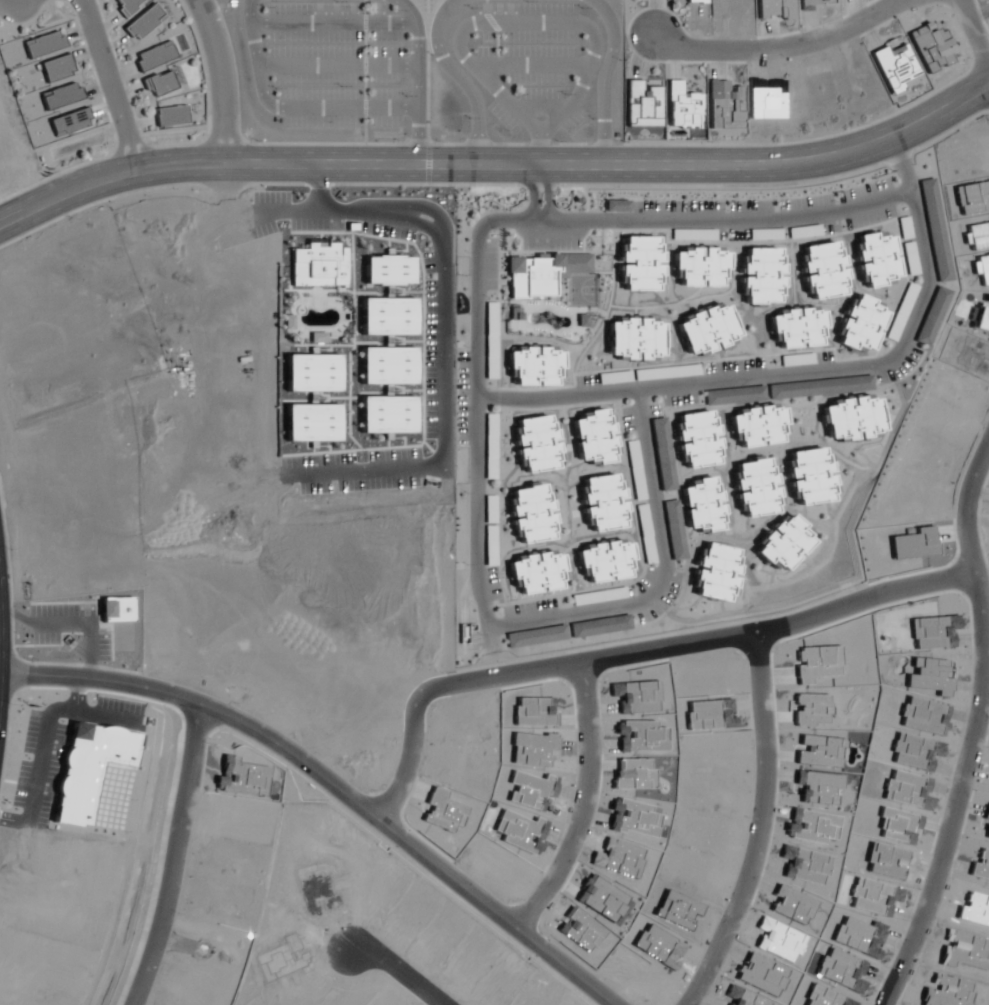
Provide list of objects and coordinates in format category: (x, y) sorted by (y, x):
building: (696, 1)
road: (20, 3)
road: (602, 5)
building: (127, 6)
building: (144, 23)
road: (542, 25)
road: (977, 26)
road: (336, 28)
building: (43, 45)
road: (798, 48)
building: (155, 56)
parking lot: (332, 66)
building: (894, 67)
building: (56, 68)
parking lot: (534, 69)
road: (339, 70)
road: (538, 71)
road: (607, 75)
road: (420, 76)
road: (454, 78)
road: (220, 79)
road: (108, 83)
building: (161, 83)
building: (60, 96)
building: (642, 103)
building: (723, 105)
building: (682, 107)
road: (289, 110)
road: (545, 111)
building: (171, 116)
building: (69, 122)
road: (497, 166)
road: (320, 188)
road: (532, 194)
road: (547, 194)
building: (904, 227)
building: (935, 230)
building: (692, 234)
building: (764, 234)
building: (910, 258)
building: (875, 259)
building: (640, 263)
building: (699, 266)
building: (823, 270)
building: (542, 274)
building: (762, 276)
building: (901, 312)
building: (931, 316)
building: (861, 325)
building: (798, 328)
building: (707, 329)
road: (440, 335)
building: (635, 338)
building: (491, 340)
building: (796, 360)
road: (475, 365)
building: (535, 367)
building: (650, 374)
building: (819, 388)
building: (734, 395)
building: (851, 419)
building: (758, 426)
building: (594, 437)
building: (698, 439)
building: (537, 443)
building: (491, 447)
building: (663, 454)
building: (637, 470)
building: (810, 476)
building: (757, 487)
building: (604, 503)
building: (704, 505)
building: (532, 514)
building: (675, 529)
building: (647, 533)
building: (783, 544)
building: (912, 551)
building: (491, 558)
building: (607, 561)
building: (537, 572)
building: (716, 572)
building: (599, 596)
road: (565, 616)
road: (3, 624)
building: (600, 627)
building: (464, 633)
building: (536, 636)
building: (929, 641)
road: (625, 648)
building: (928, 686)
building: (926, 724)
road: (981, 729)
road: (332, 784)
road: (582, 801)
road: (756, 826)
road: (172, 858)
road: (396, 972)

